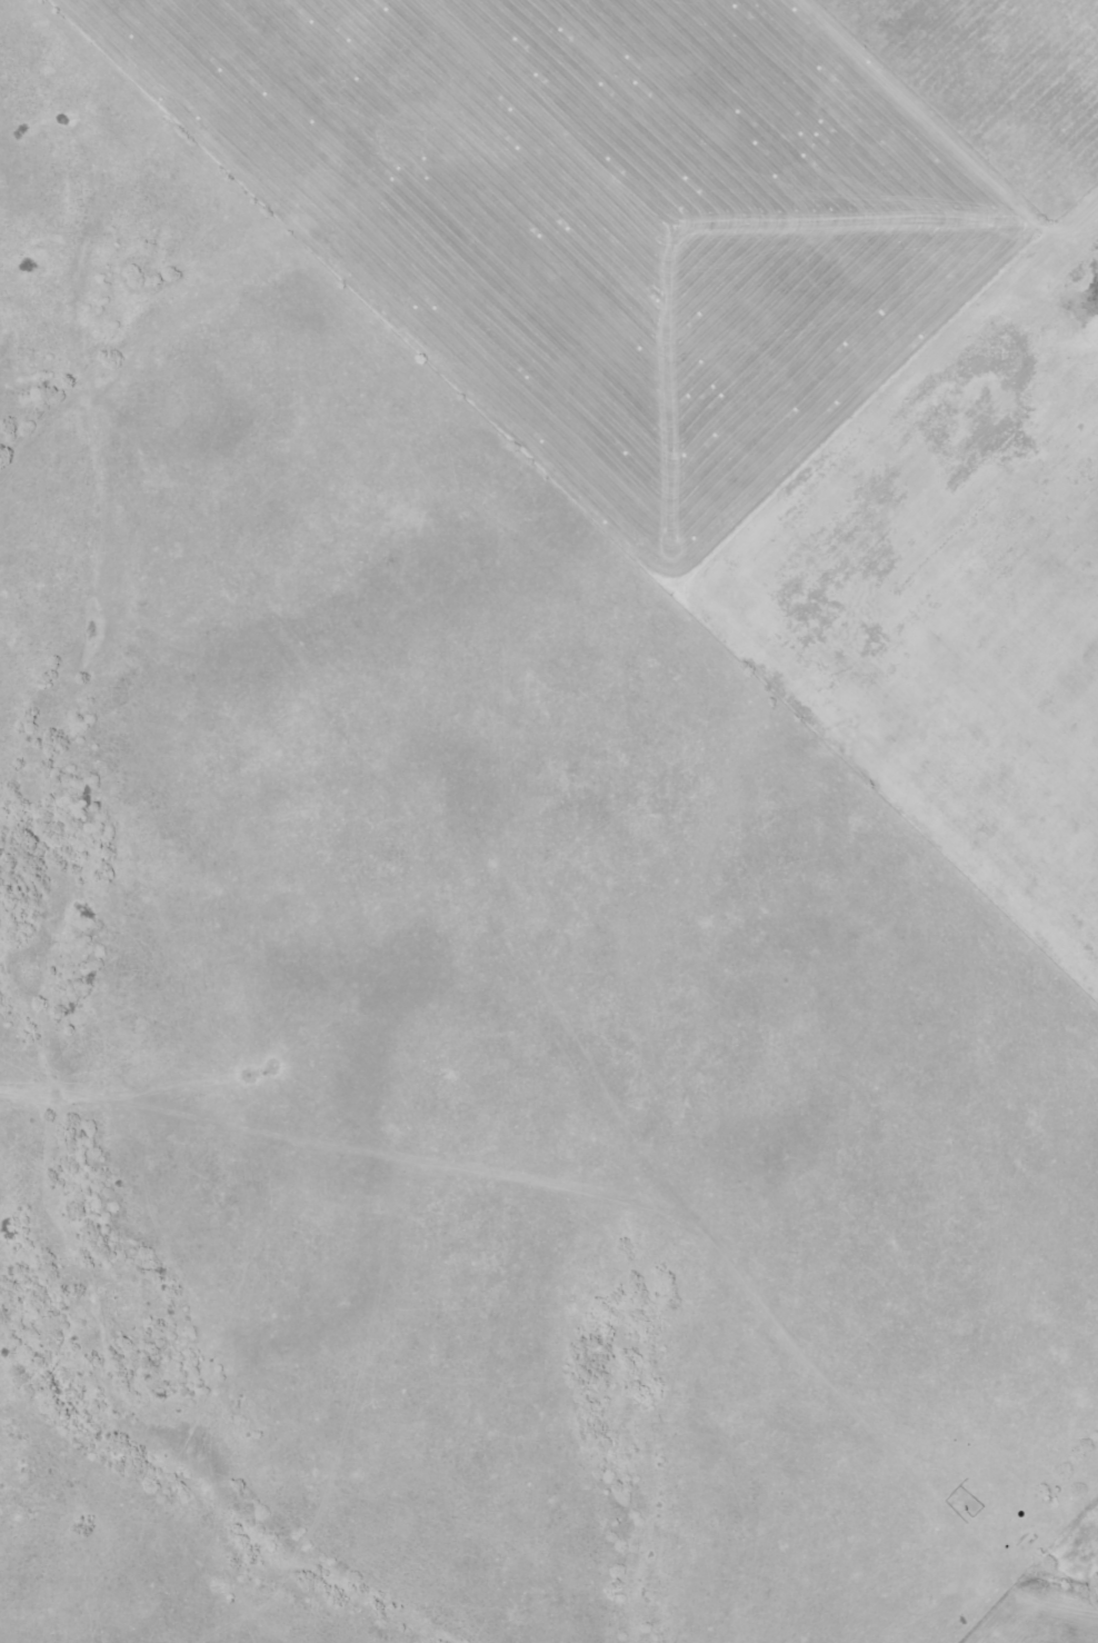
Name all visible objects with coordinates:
road: (908, 1465)

